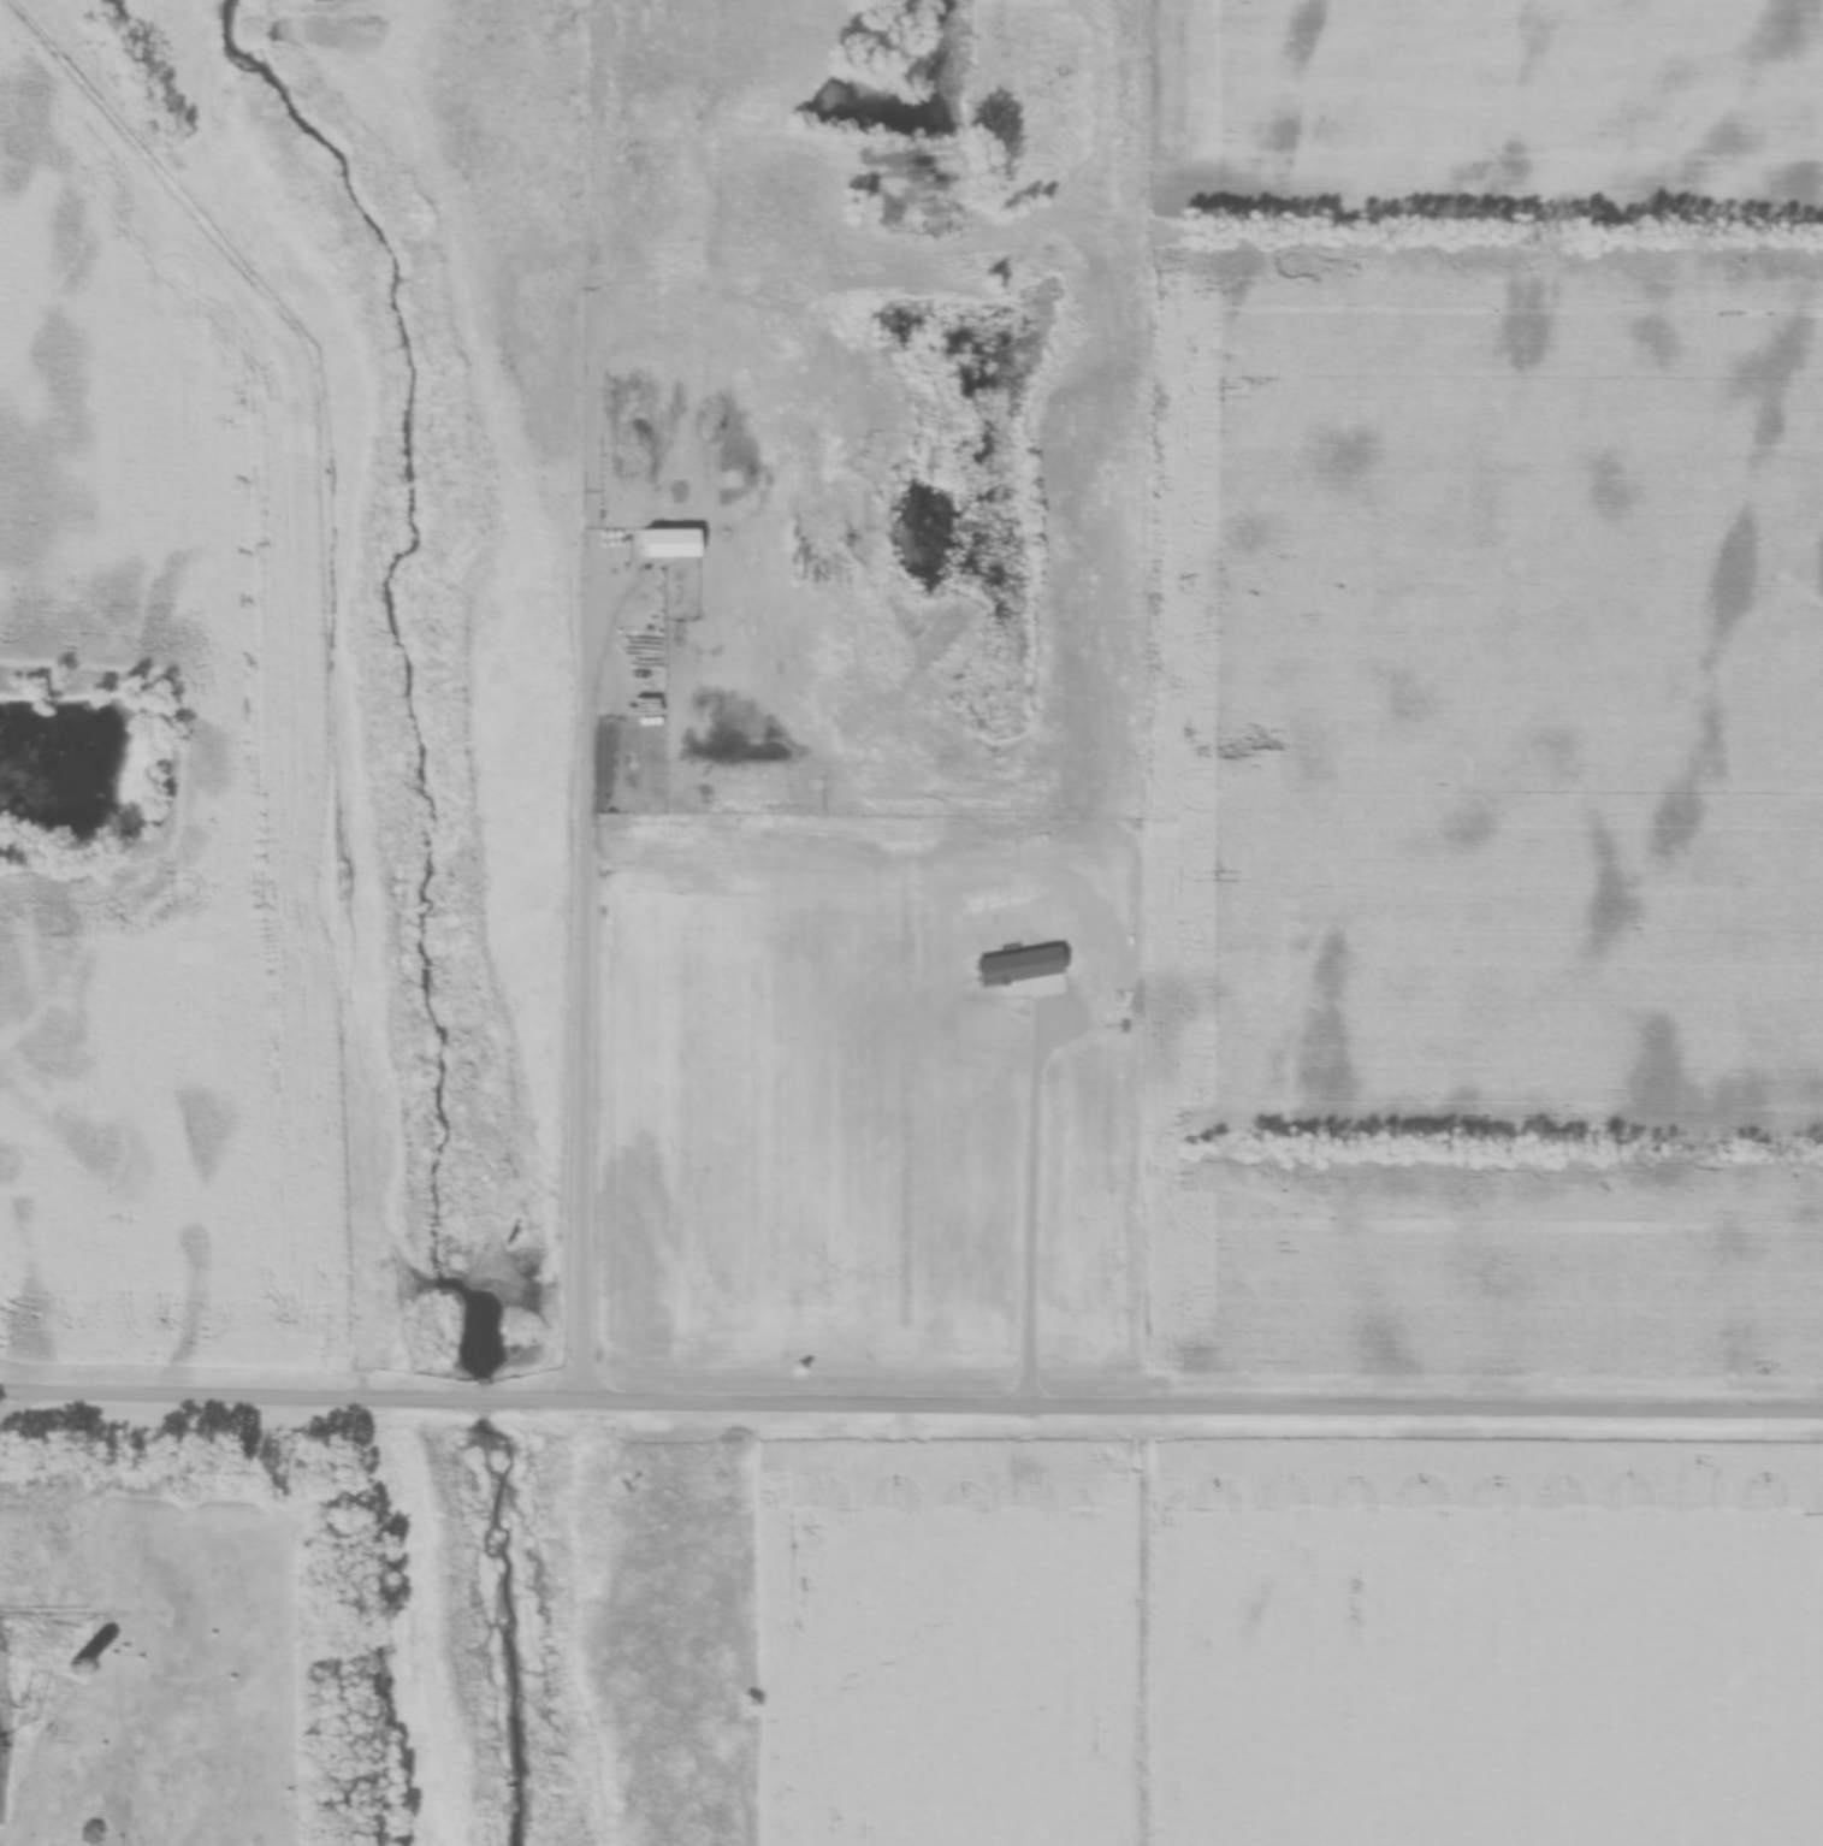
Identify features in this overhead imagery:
road: (572, 705)
road: (911, 1415)

